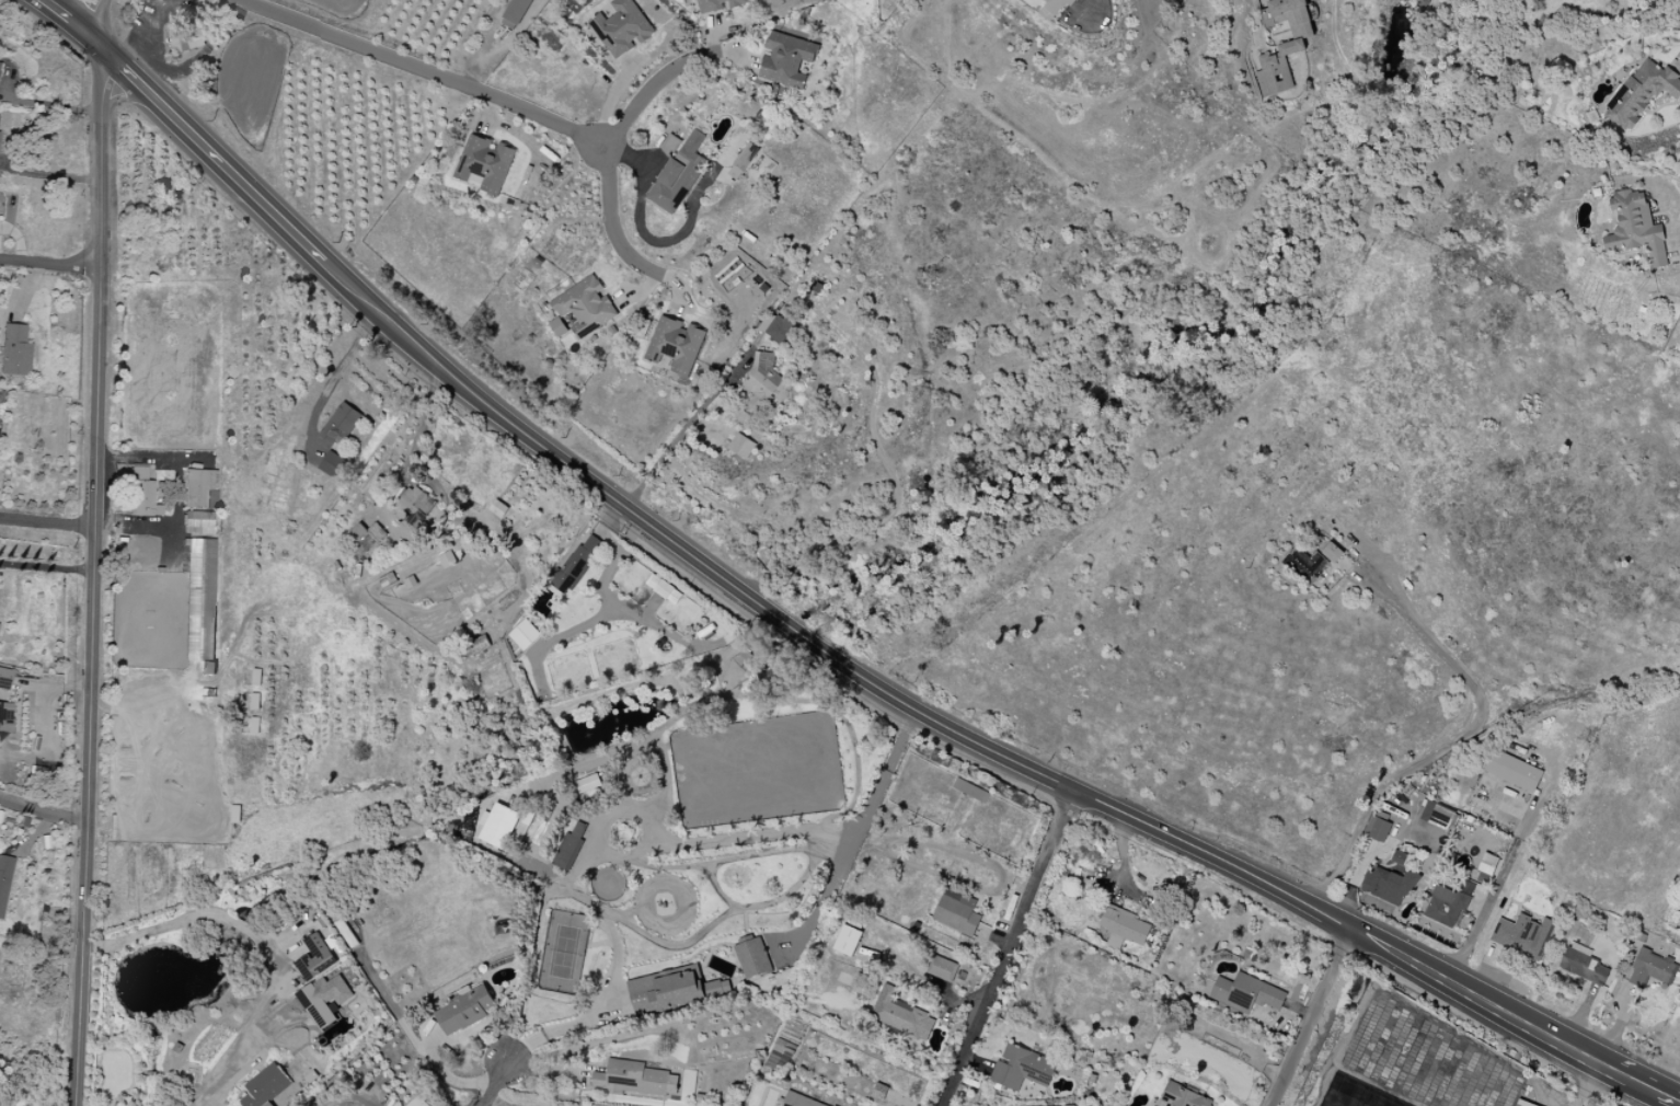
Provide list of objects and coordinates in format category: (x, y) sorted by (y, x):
building: (717, 4)
building: (1052, 9)
building: (515, 13)
road: (59, 16)
road: (89, 16)
building: (621, 27)
building: (1284, 46)
road: (97, 49)
building: (785, 59)
road: (421, 68)
building: (1639, 93)
road: (599, 145)
building: (670, 145)
building: (484, 163)
road: (219, 165)
building: (749, 165)
building: (679, 174)
road: (48, 175)
building: (1634, 228)
road: (49, 264)
building: (585, 306)
building: (775, 327)
building: (675, 345)
building: (14, 350)
road: (337, 380)
building: (760, 381)
building: (341, 424)
road: (680, 436)
building: (740, 446)
building: (331, 464)
road: (174, 488)
building: (199, 489)
building: (141, 494)
building: (415, 506)
building: (197, 522)
road: (46, 523)
building: (365, 537)
road: (175, 540)
road: (686, 550)
building: (1332, 553)
building: (1305, 562)
building: (575, 565)
road: (45, 566)
road: (90, 584)
building: (663, 588)
building: (200, 599)
building: (523, 634)
building: (4, 678)
building: (5, 716)
road: (1463, 737)
building: (1512, 771)
building: (970, 791)
road: (42, 810)
building: (1436, 815)
building: (499, 826)
building: (1377, 829)
building: (568, 846)
road: (651, 850)
building: (1487, 864)
building: (4, 878)
building: (1388, 885)
road: (1281, 886)
building: (1447, 905)
building: (956, 911)
building: (1123, 928)
building: (1522, 935)
road: (261, 937)
building: (847, 941)
road: (1010, 947)
building: (751, 956)
building: (314, 957)
building: (1583, 964)
building: (943, 968)
building: (1652, 969)
building: (670, 990)
building: (1245, 993)
building: (323, 999)
building: (465, 1007)
road: (1314, 1014)
building: (900, 1015)
road: (1529, 1017)
building: (1021, 1068)
road: (1629, 1071)
building: (634, 1079)
road: (1583, 1079)
road: (448, 1080)
road: (232, 1083)
road: (497, 1084)
building: (265, 1086)
building: (1183, 1096)
road: (346, 1097)
building: (419, 1099)
building: (799, 1101)

